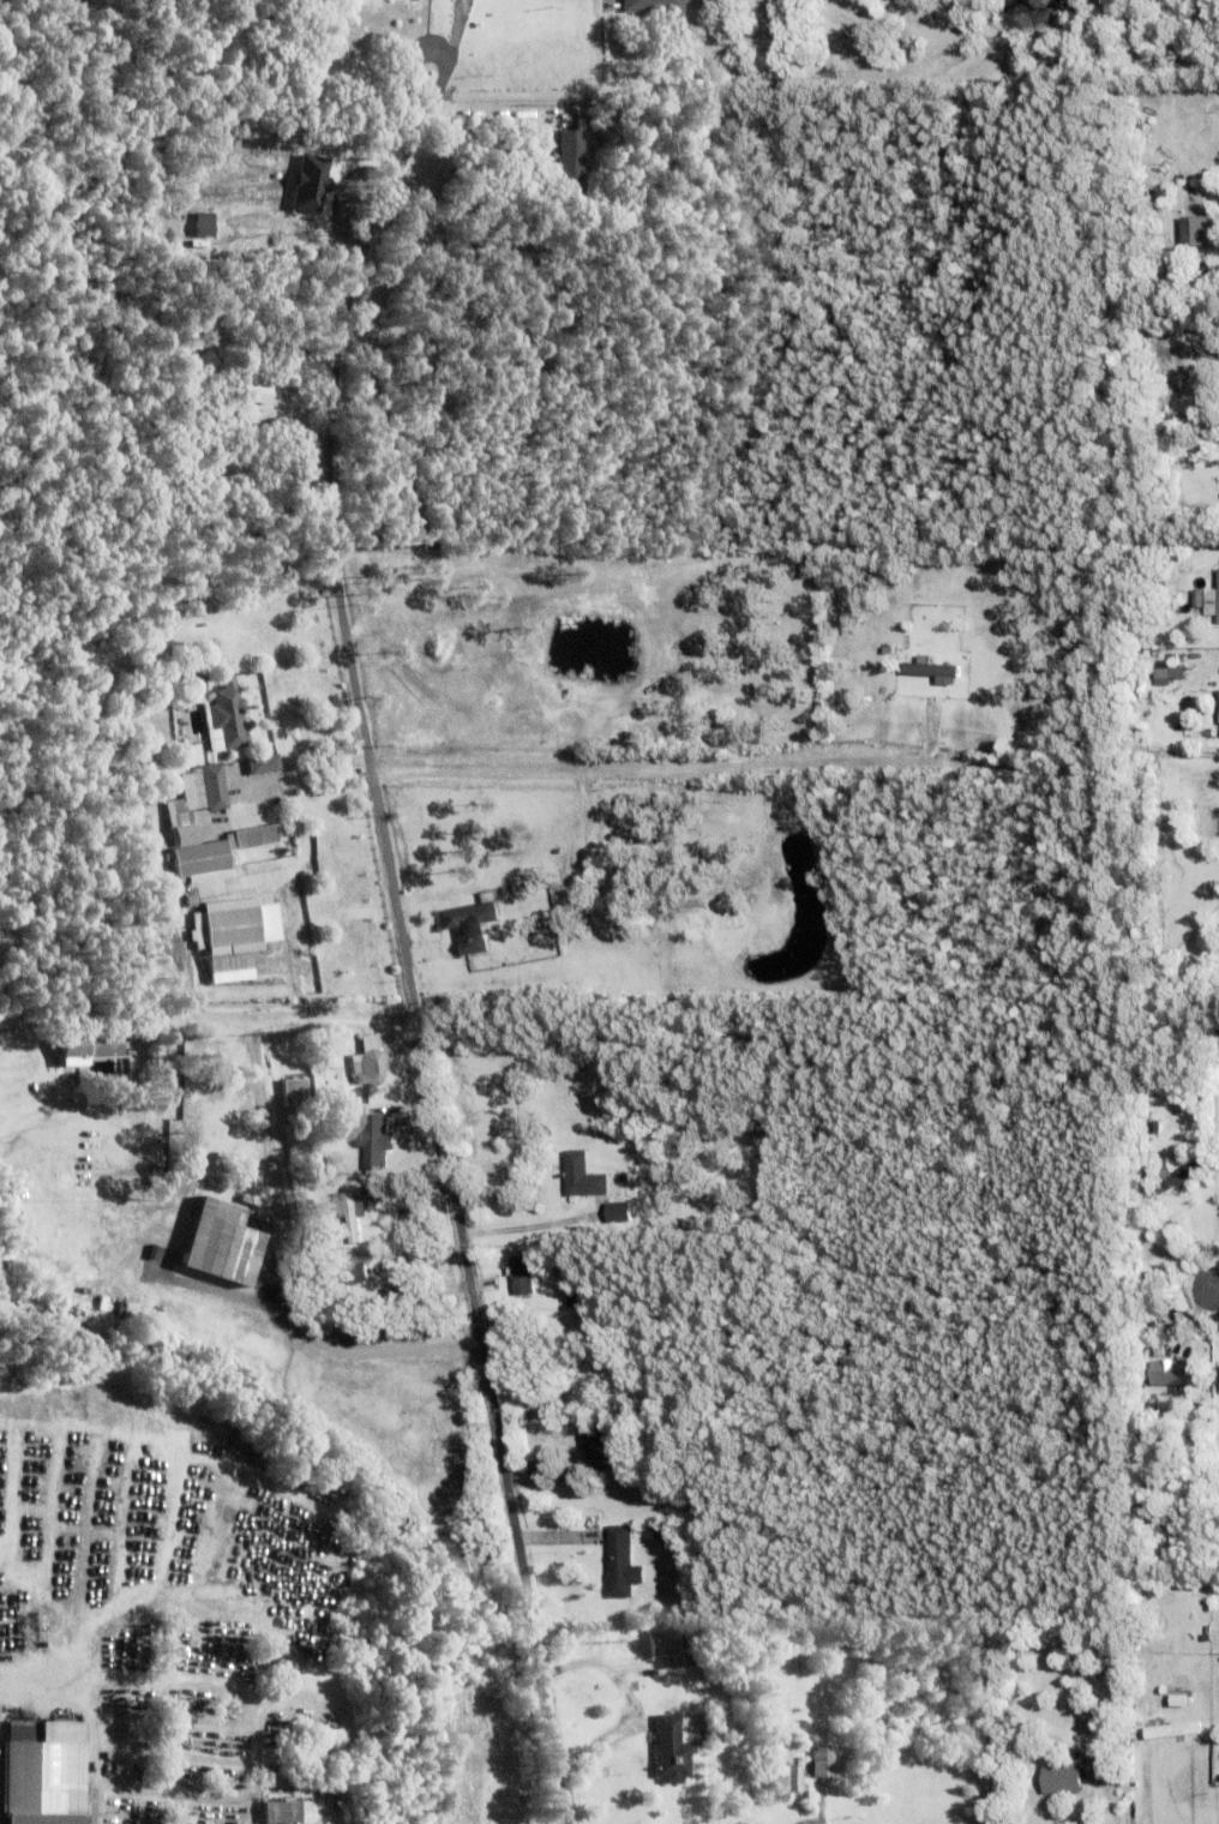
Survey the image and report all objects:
building: (693, 5)
building: (656, 6)
building: (705, 118)
building: (1143, 127)
building: (647, 142)
building: (572, 166)
building: (529, 194)
building: (1191, 230)
building: (1205, 264)
building: (1205, 292)
building: (1151, 378)
building: (253, 391)
building: (1206, 407)
building: (1215, 498)
building: (809, 570)
building: (1159, 581)
building: (1197, 598)
building: (1212, 600)
building: (205, 649)
building: (885, 650)
building: (932, 670)
building: (1169, 671)
building: (1214, 676)
building: (194, 684)
building: (1217, 702)
building: (226, 720)
building: (180, 758)
road: (666, 763)
building: (262, 764)
building: (1183, 767)
building: (1188, 784)
building: (203, 788)
building: (1199, 793)
building: (1207, 820)
building: (254, 836)
building: (192, 845)
building: (607, 878)
building: (469, 925)
road: (403, 931)
building: (228, 935)
road: (277, 1016)
building: (94, 1020)
building: (89, 1046)
building: (370, 1062)
building: (294, 1091)
building: (767, 1126)
building: (1154, 1129)
building: (101, 1139)
building: (374, 1141)
building: (1142, 1168)
building: (1178, 1176)
building: (581, 1177)
building: (253, 1200)
building: (350, 1210)
building: (617, 1212)
building: (139, 1225)
building: (218, 1246)
building: (355, 1270)
building: (56, 1276)
building: (316, 1277)
building: (521, 1277)
road: (1205, 1288)
building: (406, 1296)
building: (570, 1301)
building: (1171, 1304)
building: (1159, 1310)
building: (1143, 1312)
building: (1194, 1352)
building: (1142, 1354)
building: (1137, 1362)
building: (1151, 1369)
building: (1215, 1375)
building: (1176, 1397)
building: (596, 1448)
building: (662, 1531)
building: (1187, 1549)
building: (620, 1564)
building: (662, 1645)
building: (1205, 1645)
building: (704, 1655)
building: (689, 1662)
building: (1106, 1667)
building: (1178, 1703)
building: (1169, 1732)
building: (761, 1739)
building: (782, 1740)
building: (672, 1752)
building: (823, 1764)
building: (1097, 1770)
building: (46, 1774)
building: (276, 1780)
building: (1061, 1781)
building: (787, 1783)
building: (288, 1813)

